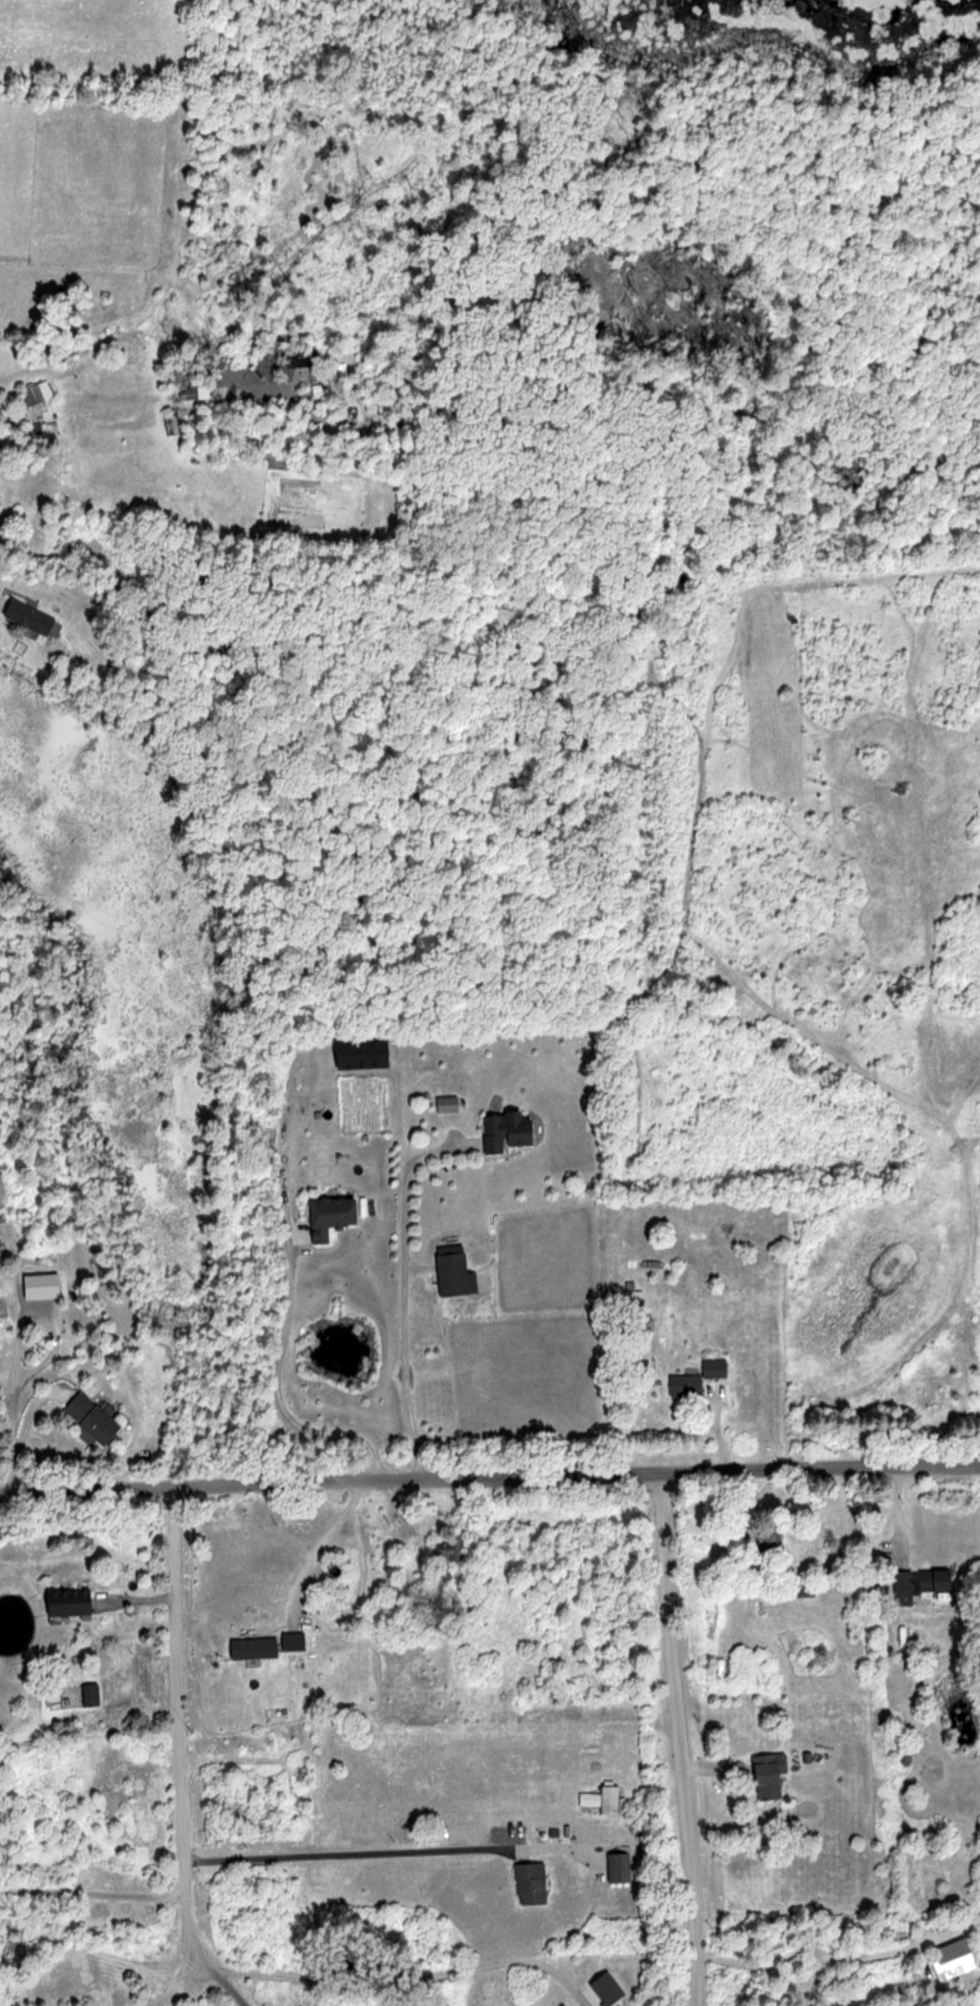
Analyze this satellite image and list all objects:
building: (193, 392)
building: (36, 393)
building: (28, 617)
road: (284, 1131)
building: (505, 1132)
building: (322, 1215)
building: (449, 1270)
road: (403, 1289)
building: (631, 1303)
building: (693, 1377)
road: (282, 1385)
building: (85, 1418)
road: (20, 1432)
road: (821, 1466)
road: (331, 1480)
building: (761, 1537)
road: (319, 1541)
building: (444, 1550)
building: (915, 1584)
building: (61, 1602)
building: (901, 1640)
building: (289, 1641)
building: (248, 1648)
building: (86, 1694)
road: (178, 1725)
road: (679, 1738)
building: (761, 1774)
building: (603, 1799)
road: (341, 1851)
building: (614, 1866)
building: (525, 1883)
road: (89, 1892)
road: (804, 1951)
road: (395, 1981)
road: (173, 1982)
road: (217, 1983)

